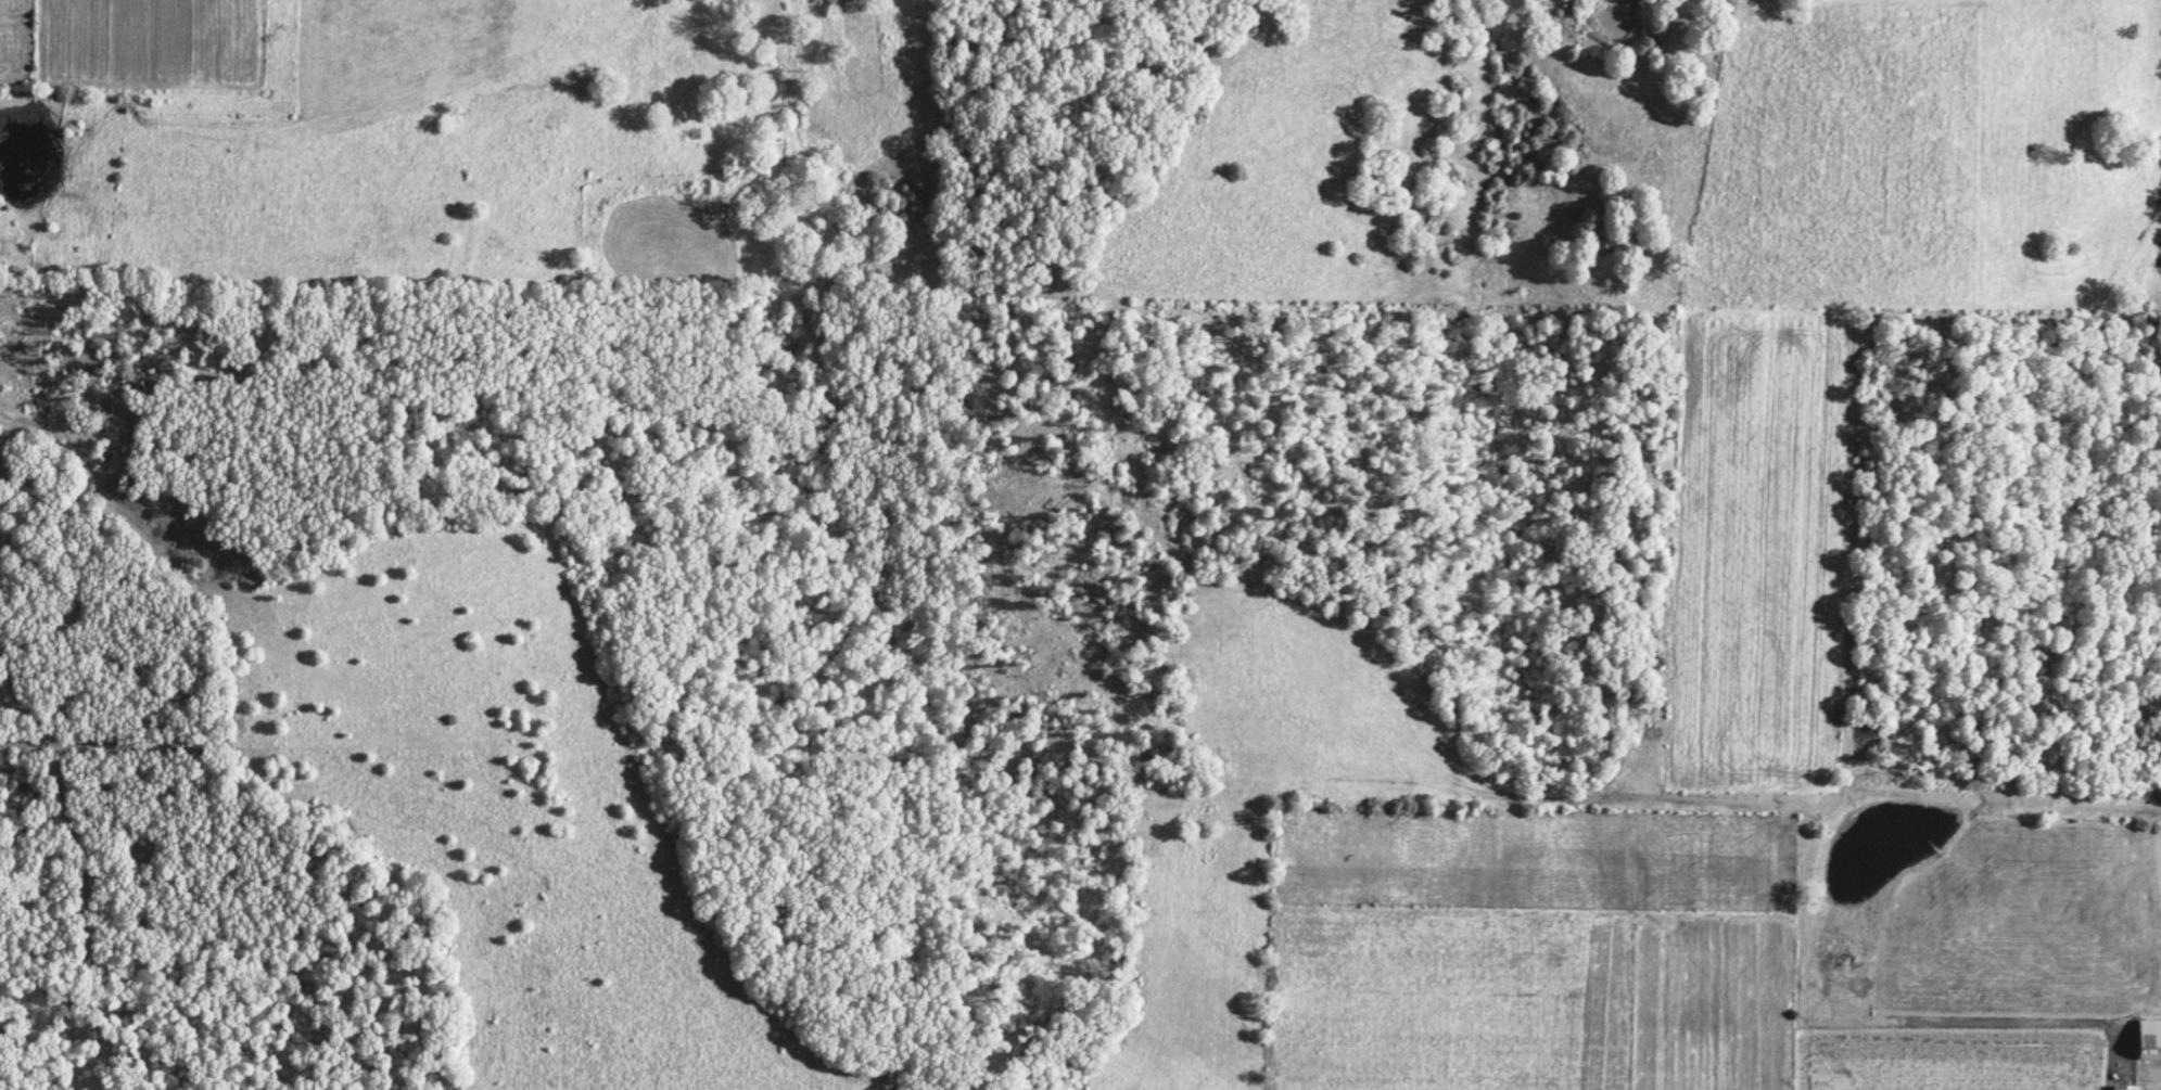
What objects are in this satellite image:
road: (1823, 38)
building: (2148, 1040)
road: (2160, 1088)
building: (2124, 1089)

